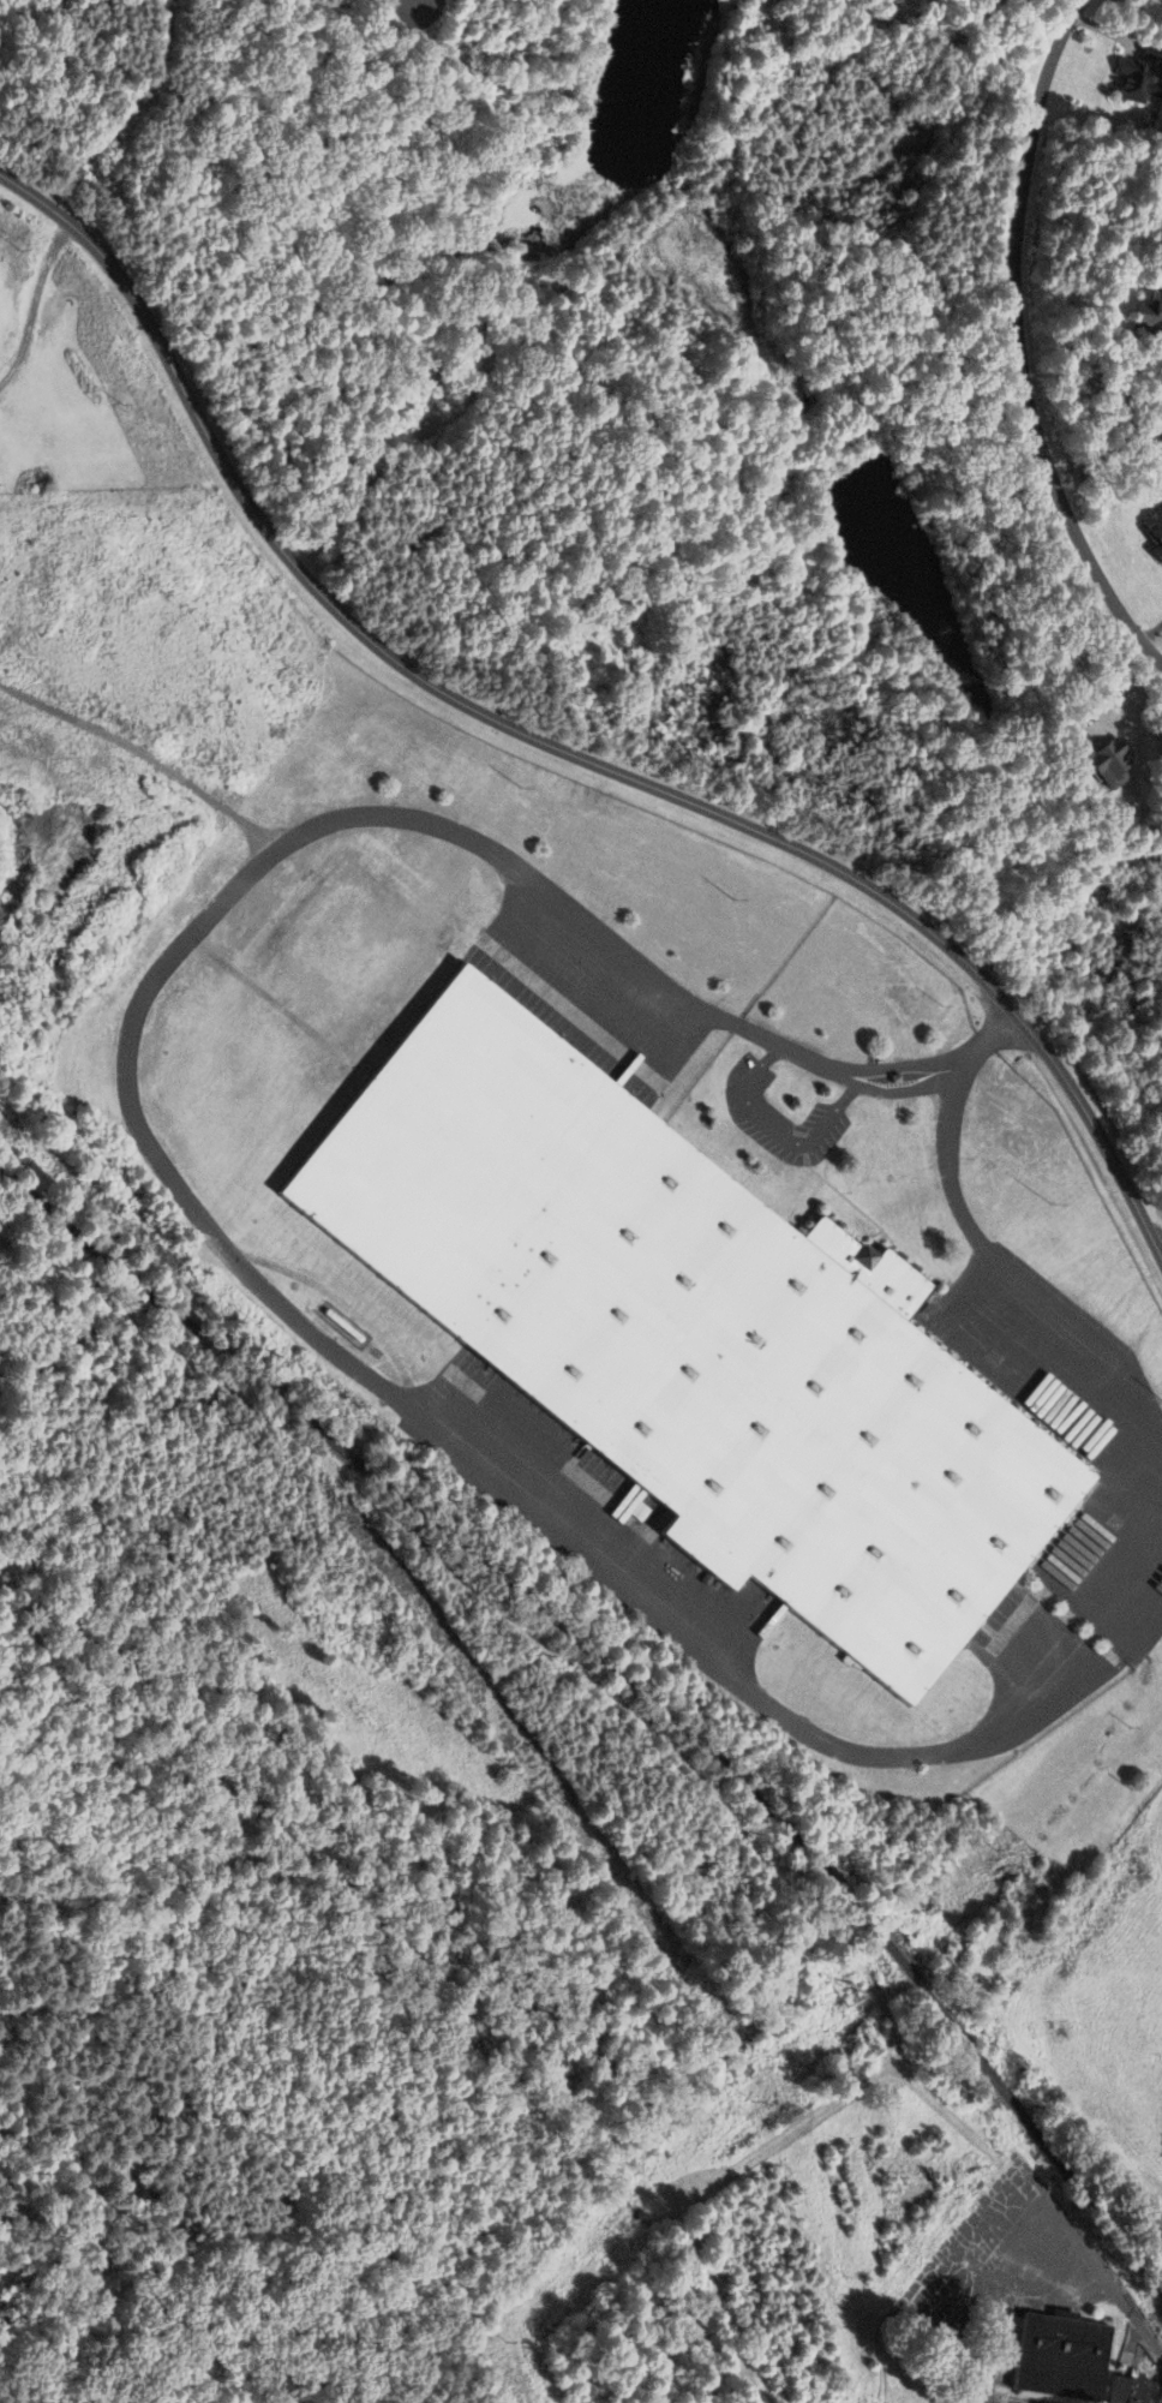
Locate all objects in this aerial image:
building: (1155, 4)
building: (1125, 79)
road: (31, 299)
building: (1143, 316)
road: (1017, 345)
park: (68, 395)
building: (1148, 530)
road: (558, 748)
road: (143, 753)
building: (1101, 761)
road: (781, 1132)
road: (148, 1152)
road: (1161, 1259)
road: (1017, 1273)
building: (687, 1331)
road: (1132, 1589)
road: (625, 1680)
building: (1053, 2357)
building: (1124, 2390)

